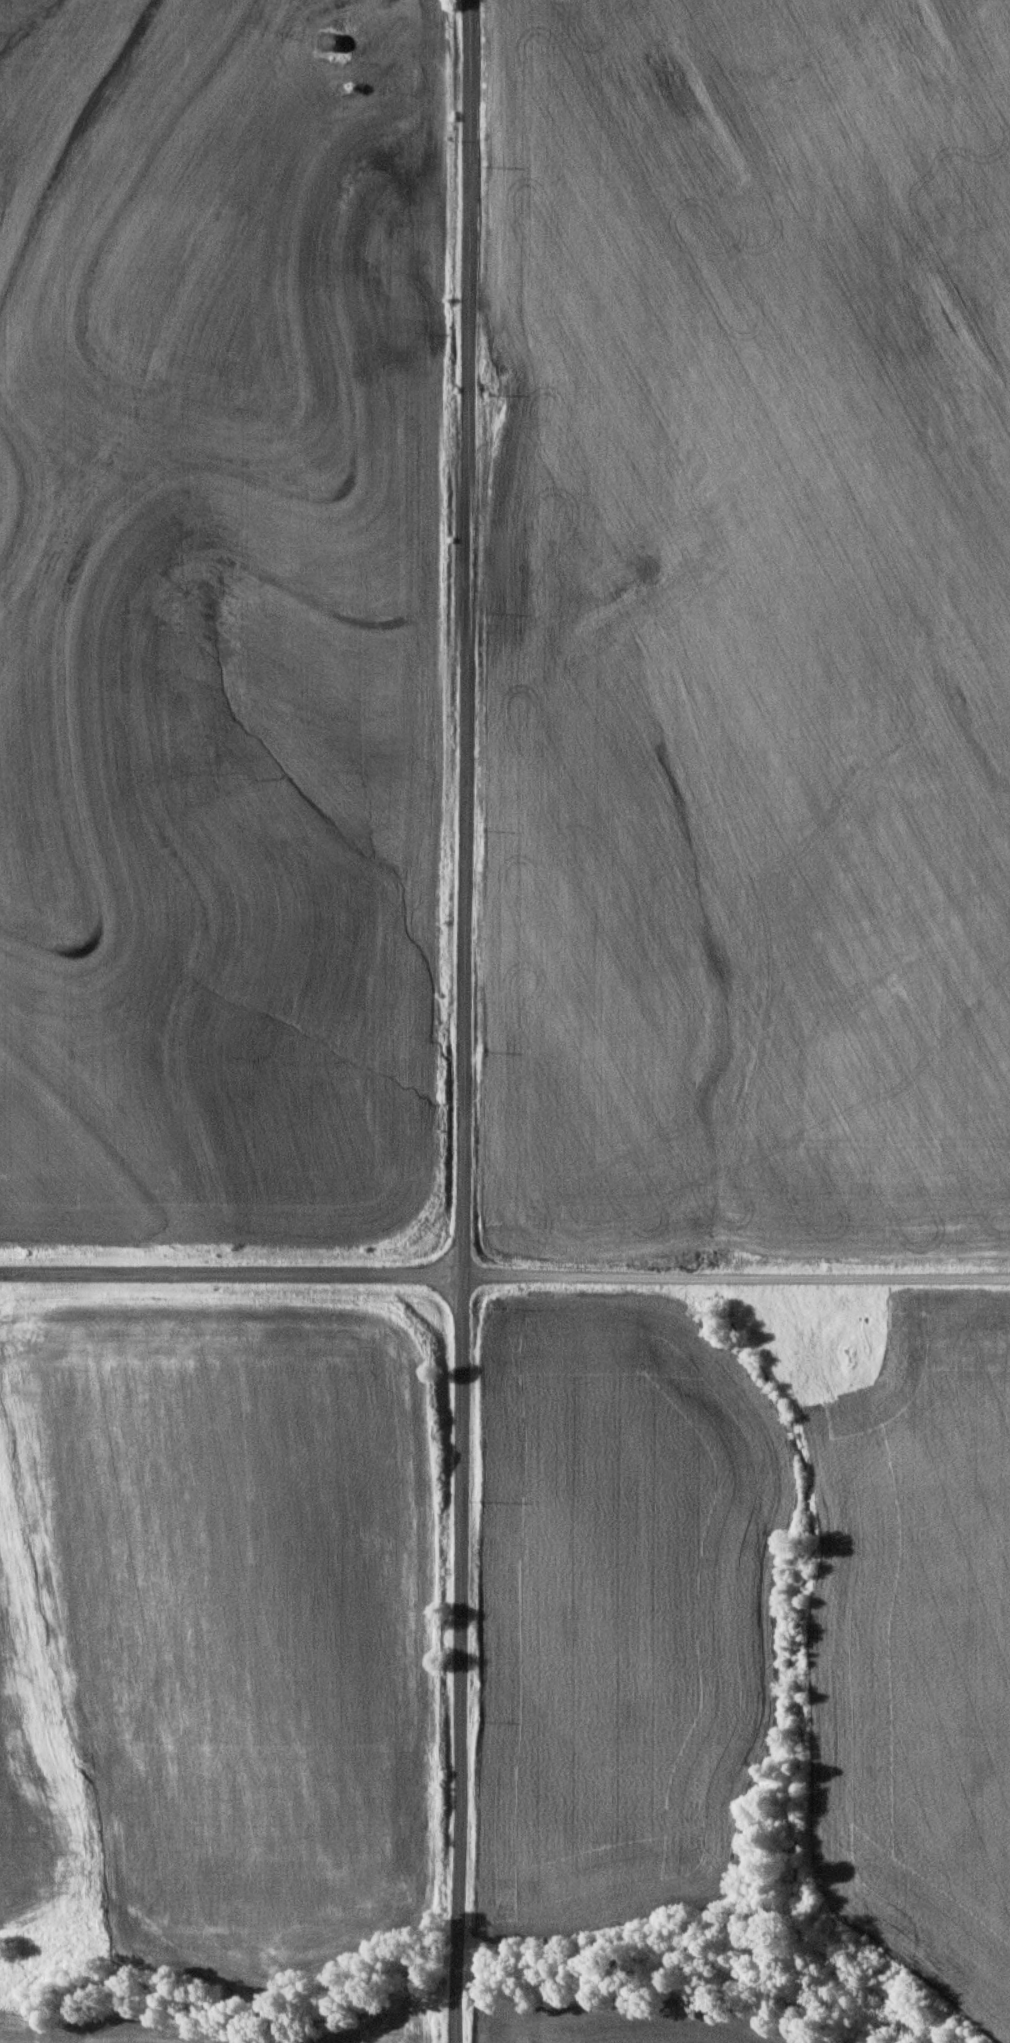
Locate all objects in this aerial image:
building: (327, 39)
road: (462, 1021)
road: (231, 1272)
road: (735, 1278)

